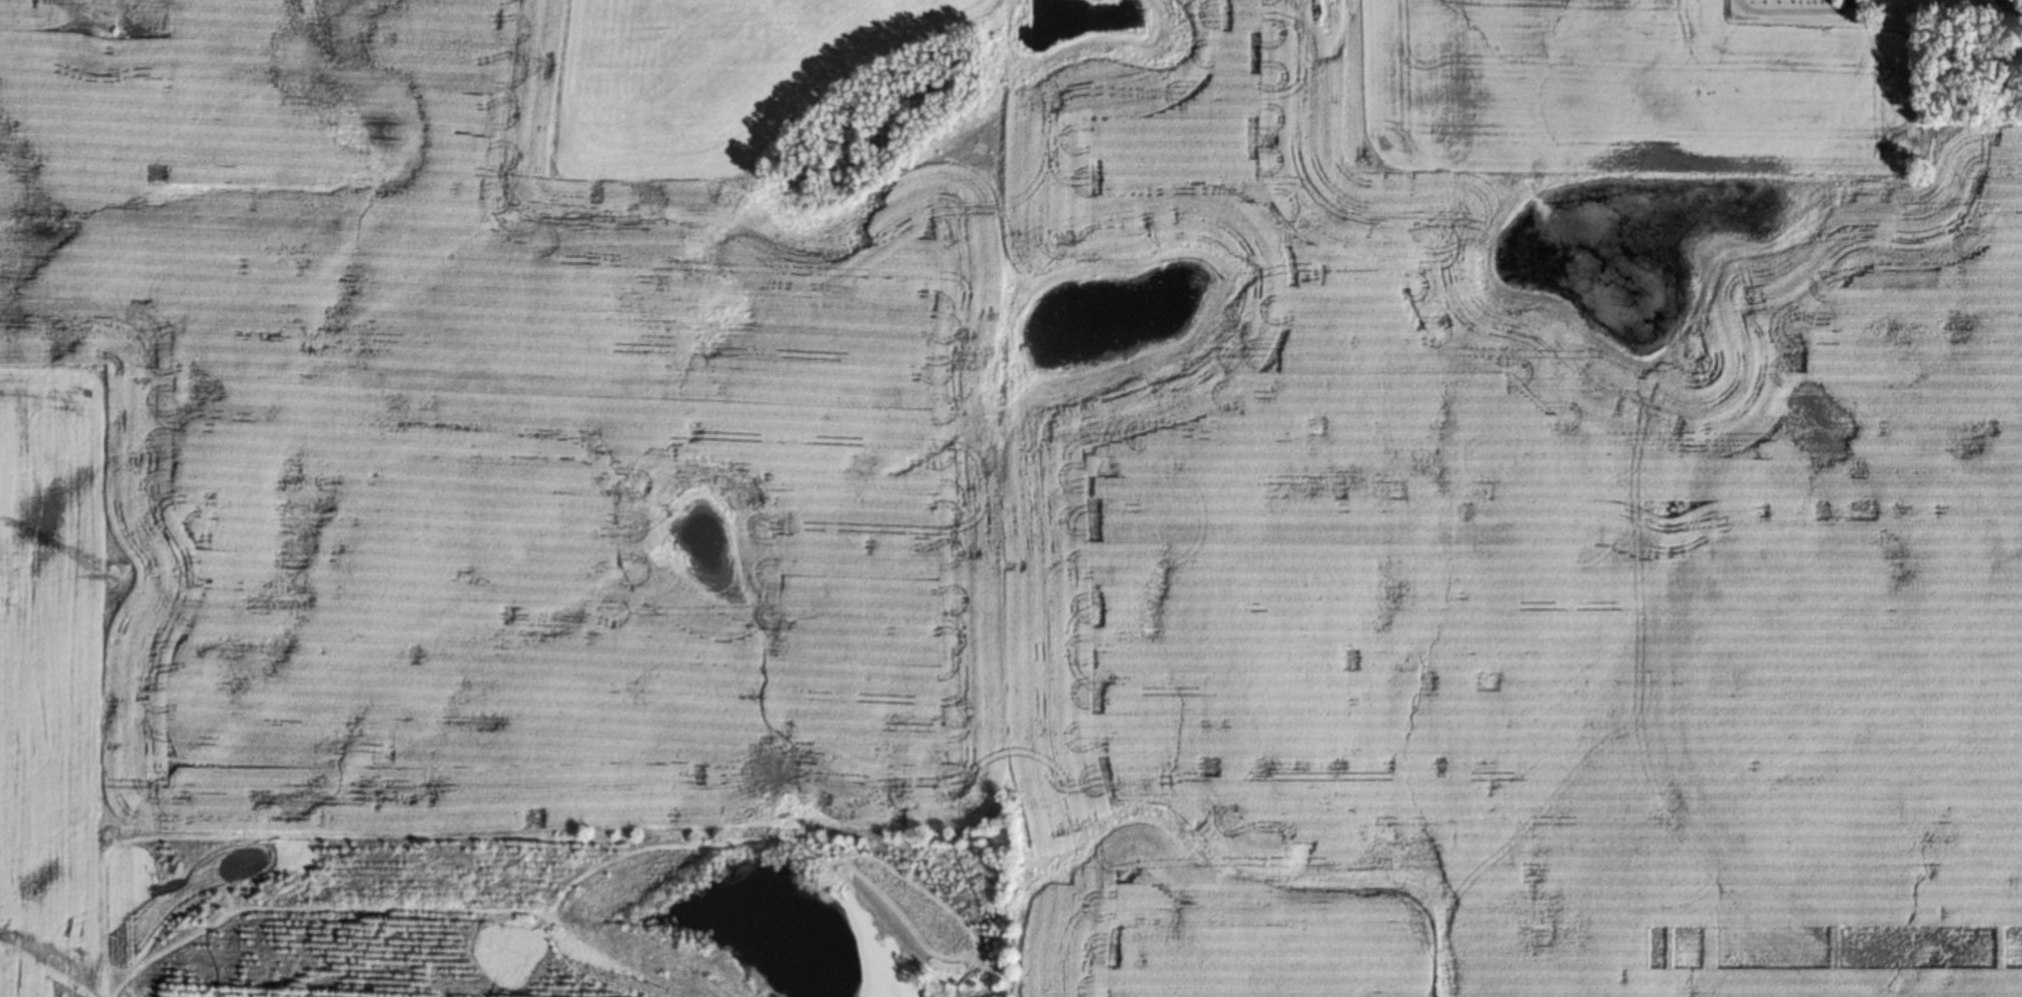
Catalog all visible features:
power tower: (104, 21)
power tower: (116, 576)

